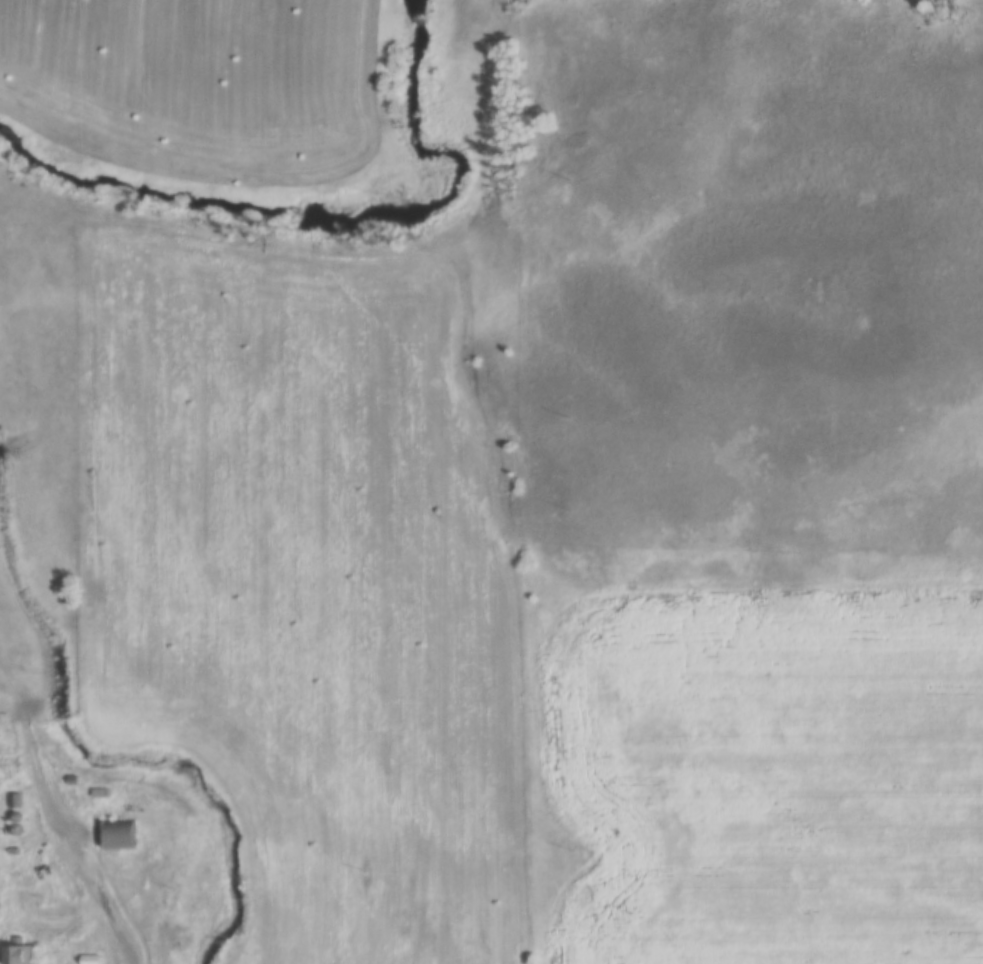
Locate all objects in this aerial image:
road: (28, 724)
road: (88, 871)
building: (19, 951)
building: (91, 959)

